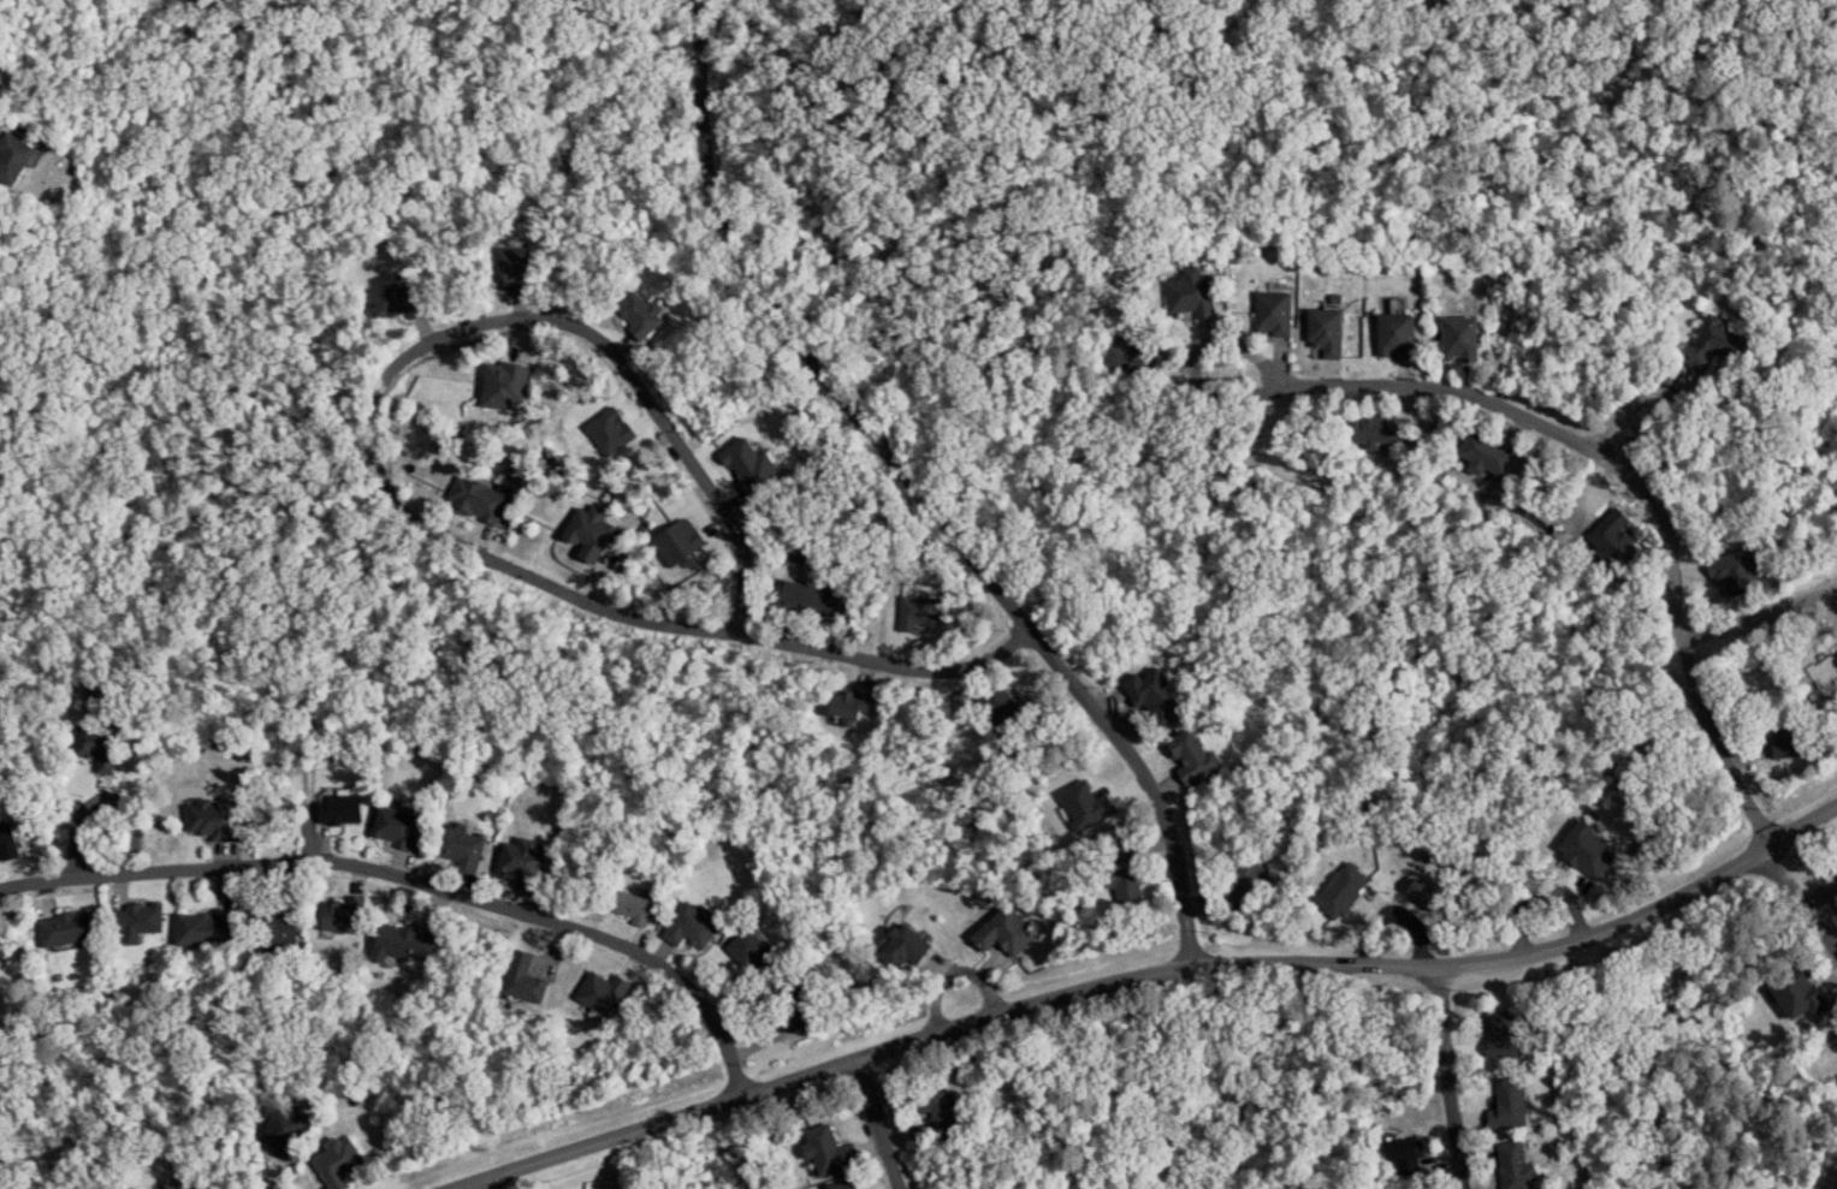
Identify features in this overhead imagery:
building: (13, 156)
building: (511, 267)
building: (1190, 292)
building: (398, 298)
building: (1272, 311)
building: (641, 314)
building: (1325, 331)
building: (1395, 334)
building: (1459, 338)
building: (1713, 344)
building: (1127, 355)
building: (503, 385)
building: (1380, 429)
building: (609, 430)
road: (1648, 432)
road: (1300, 438)
building: (1486, 454)
road: (345, 458)
building: (749, 465)
road: (1624, 466)
road: (1564, 482)
road: (396, 492)
road: (923, 493)
road: (1753, 623)
road: (109, 840)
road: (415, 881)
road: (1801, 899)
road: (1540, 923)
road: (1398, 935)
road: (1148, 976)
road: (971, 1000)
road: (1451, 1077)
road: (877, 1125)
road: (487, 1183)
road: (1836, 1188)

